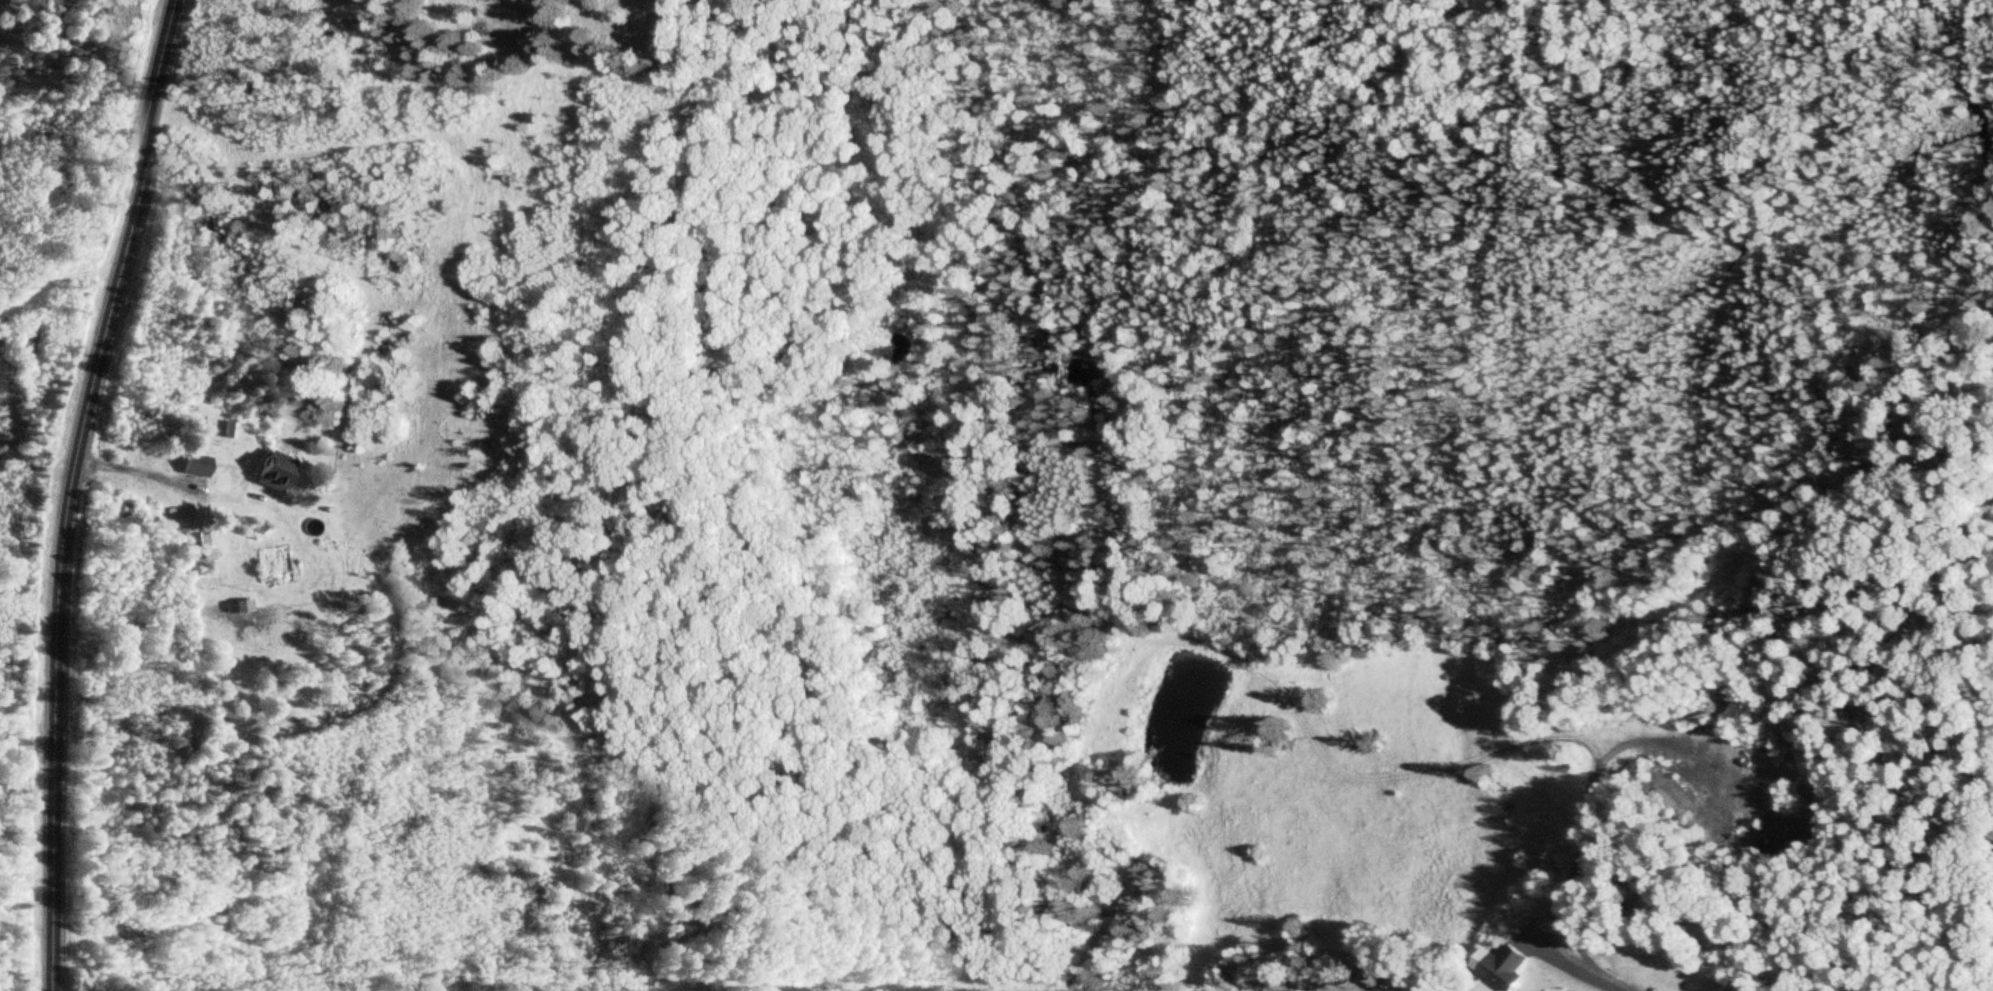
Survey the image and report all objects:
building: (197, 465)
building: (275, 470)
road: (72, 490)
building: (197, 539)
building: (240, 605)
building: (1511, 966)
road: (1577, 966)

